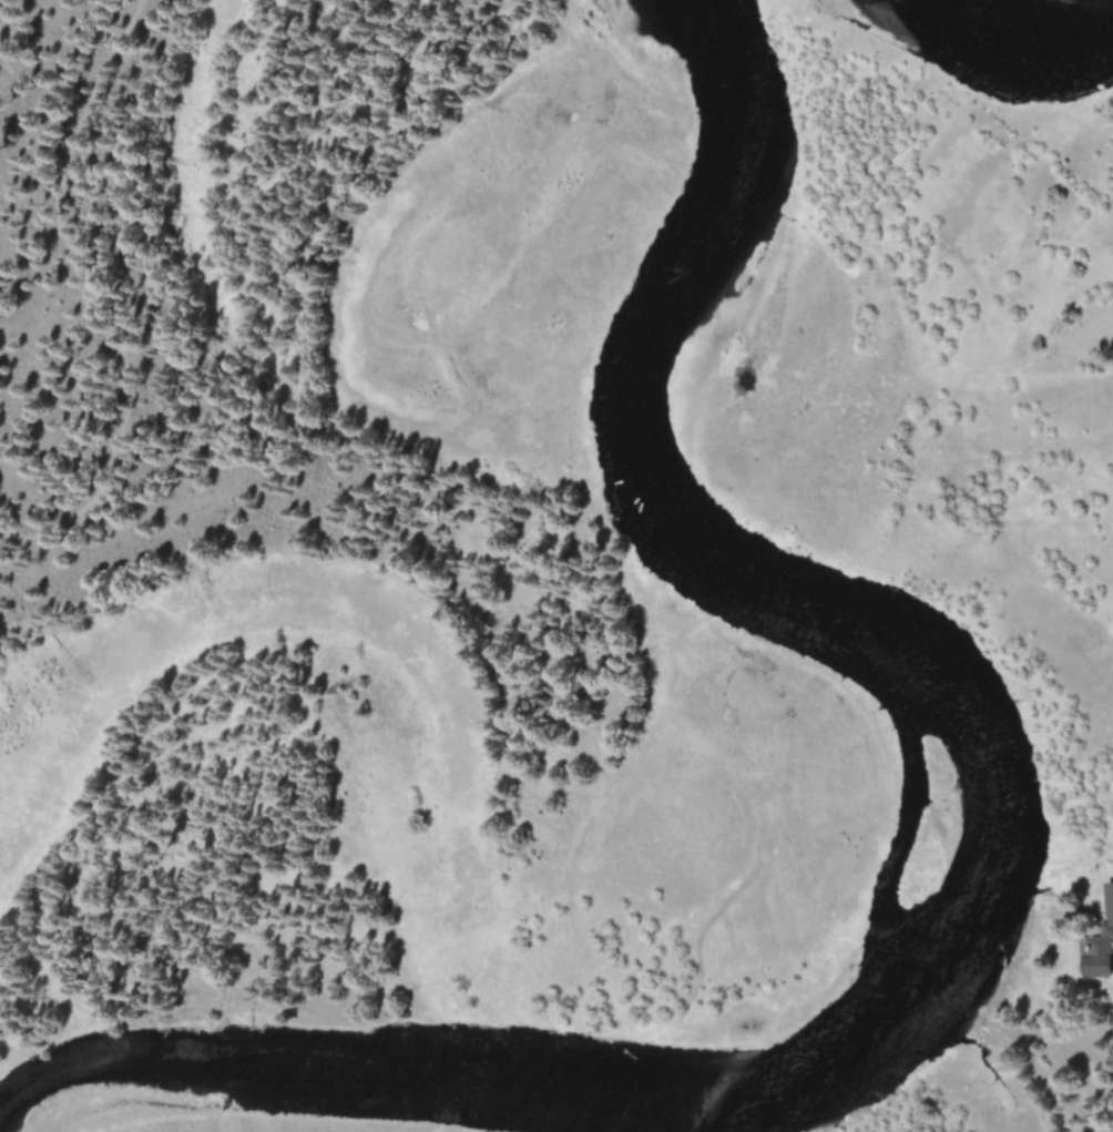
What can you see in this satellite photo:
river: (1015, 31)
road: (85, 300)
river: (798, 609)
building: (1099, 945)

